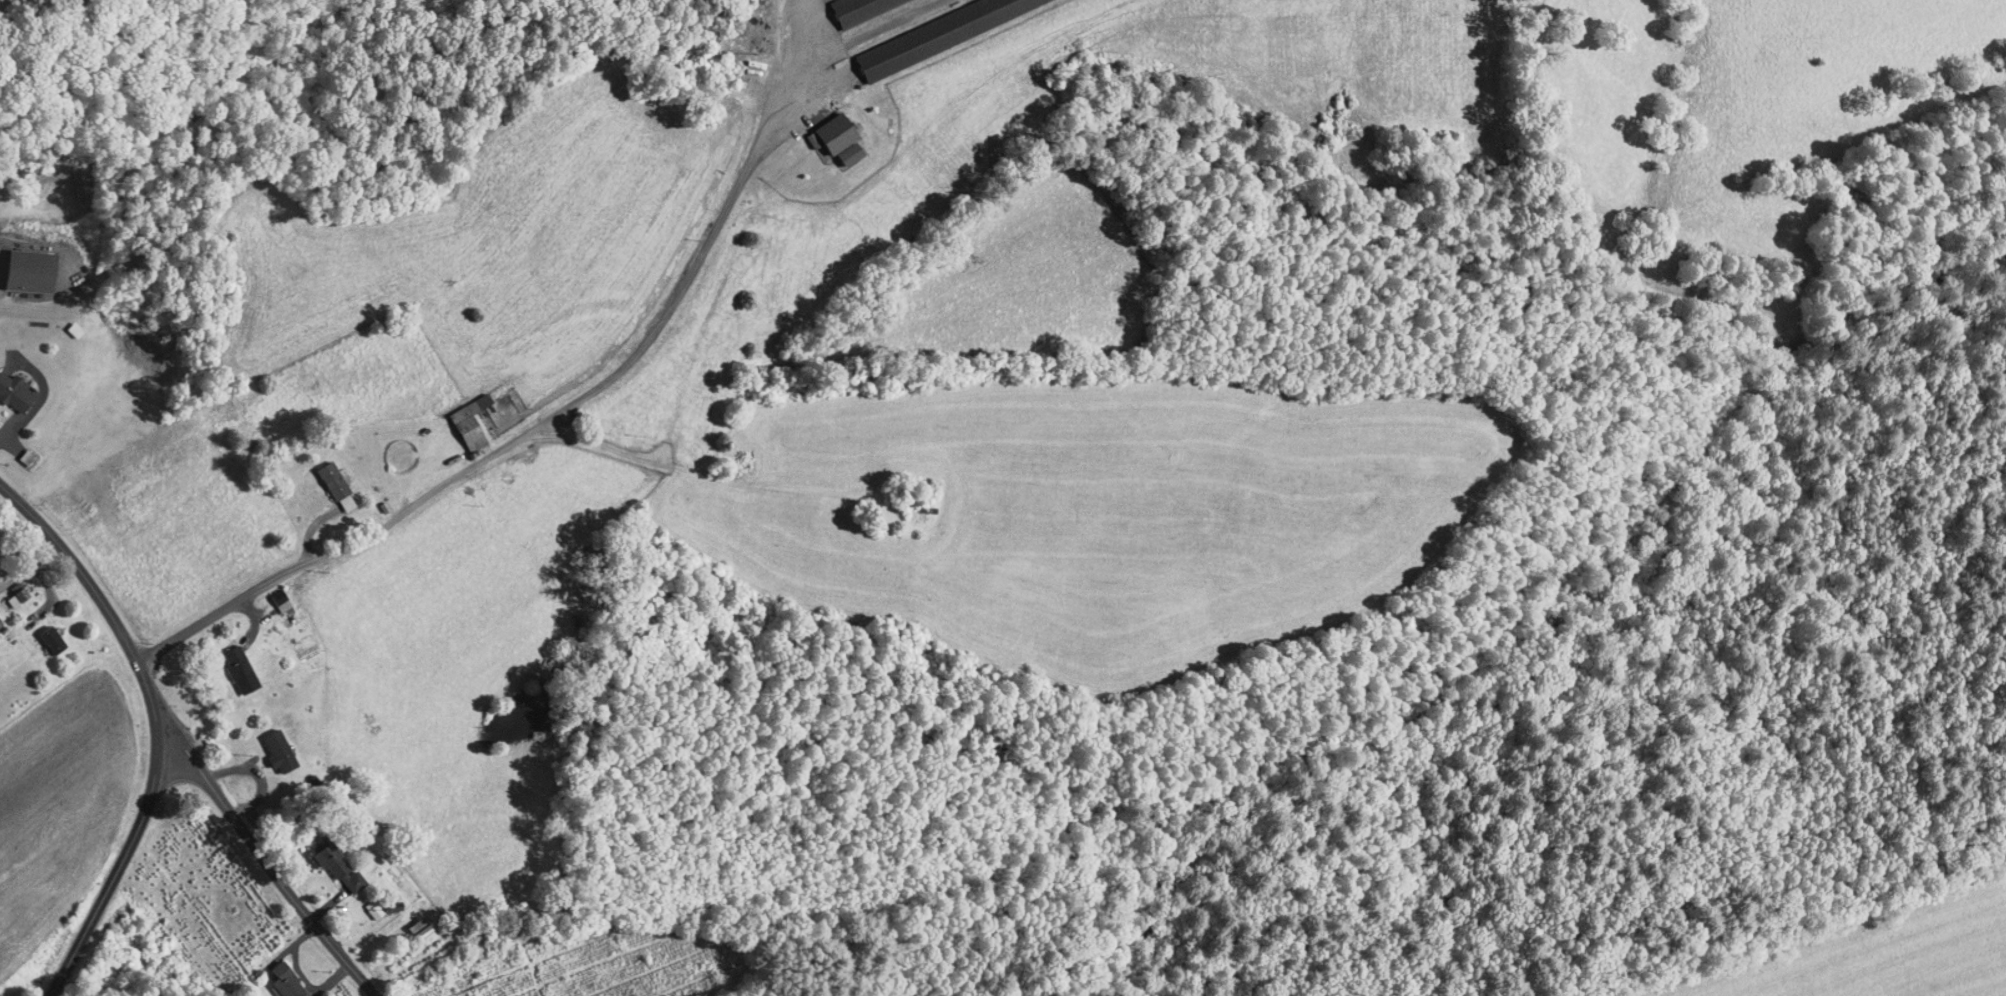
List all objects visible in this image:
building: (832, 4)
building: (916, 30)
building: (819, 126)
building: (833, 146)
road: (705, 248)
building: (17, 262)
building: (7, 387)
building: (455, 415)
building: (322, 479)
road: (339, 550)
road: (33, 568)
building: (6, 589)
road: (96, 589)
building: (265, 593)
building: (36, 632)
building: (223, 662)
building: (262, 744)
building: (322, 859)
road: (265, 860)
road: (122, 862)
building: (360, 902)
building: (408, 924)
building: (274, 977)

